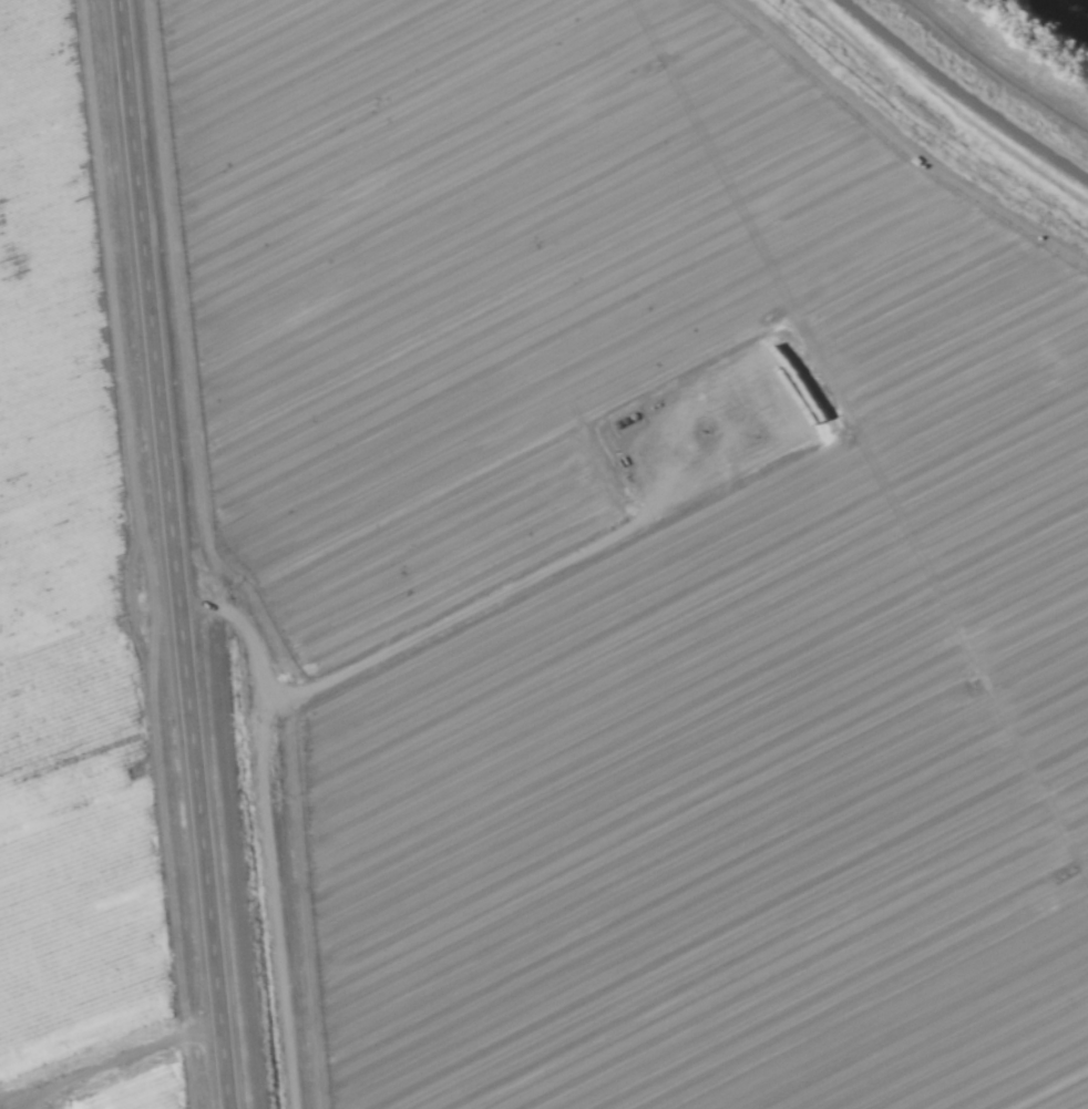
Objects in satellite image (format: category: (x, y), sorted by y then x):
road: (965, 92)
road: (173, 554)

